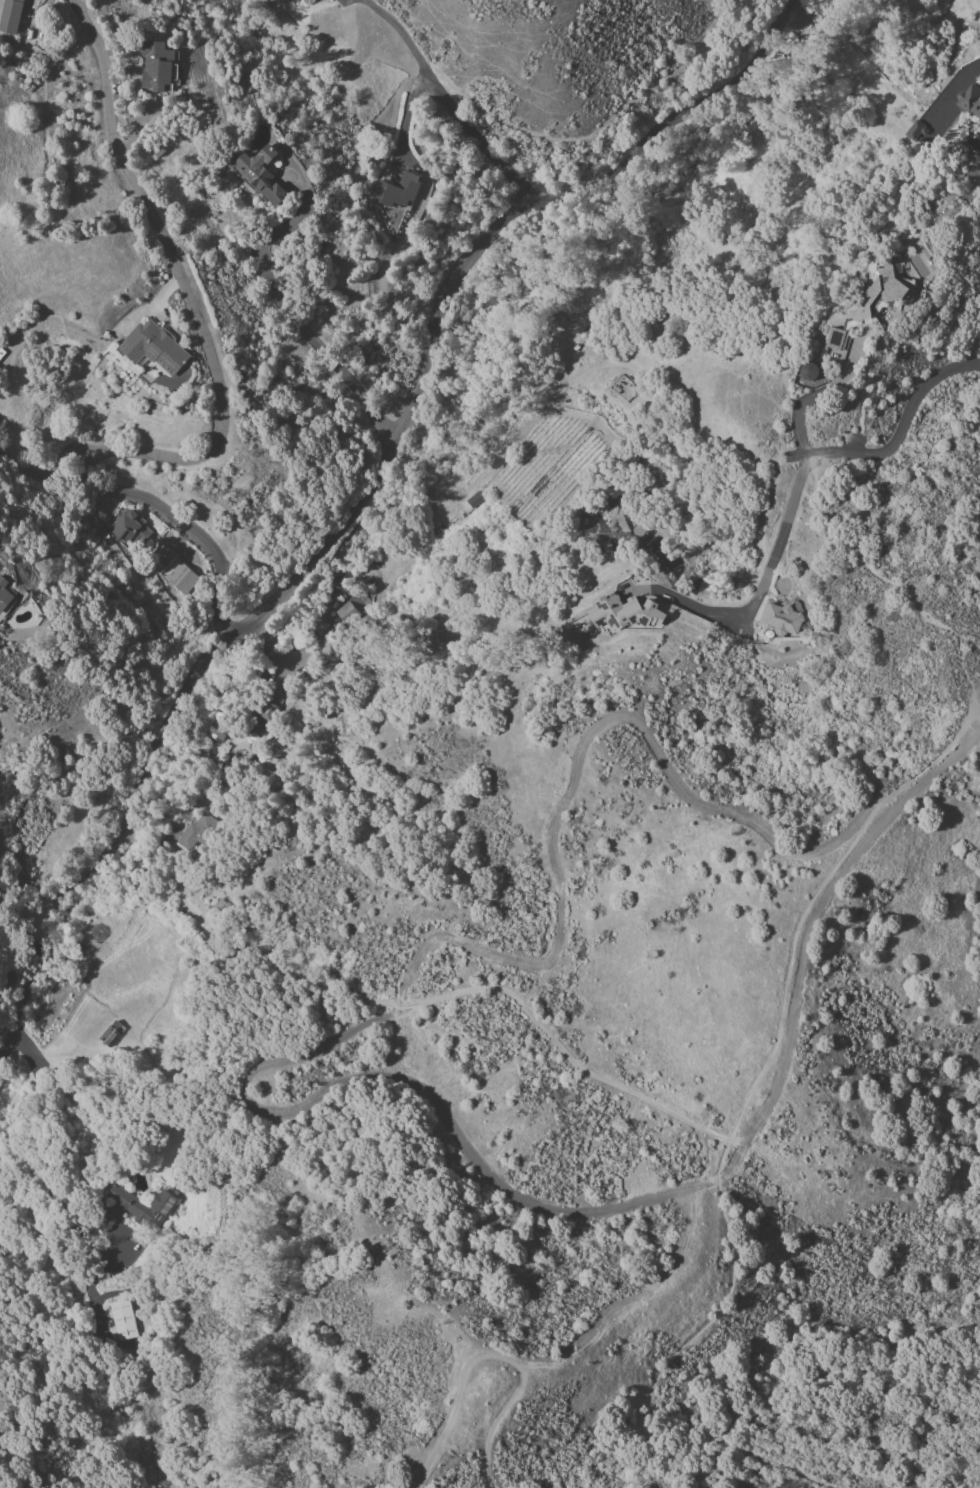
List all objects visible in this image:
building: (282, 1)
building: (287, 1)
building: (14, 17)
building: (160, 65)
road: (448, 100)
building: (971, 102)
building: (266, 176)
building: (400, 192)
road: (189, 290)
building: (880, 294)
road: (151, 303)
road: (290, 305)
building: (839, 340)
building: (157, 348)
building: (2, 356)
building: (626, 390)
road: (798, 417)
road: (33, 461)
road: (798, 480)
road: (138, 493)
road: (364, 494)
building: (133, 530)
building: (165, 556)
building: (185, 580)
road: (903, 589)
road: (218, 594)
building: (5, 597)
building: (356, 610)
building: (626, 613)
building: (786, 617)
building: (319, 627)
building: (273, 707)
road: (975, 713)
building: (262, 726)
building: (220, 729)
building: (192, 838)
building: (223, 906)
road: (20, 912)
road: (418, 1003)
building: (116, 1035)
road: (723, 1145)
building: (135, 1210)
building: (126, 1321)
road: (491, 1356)

